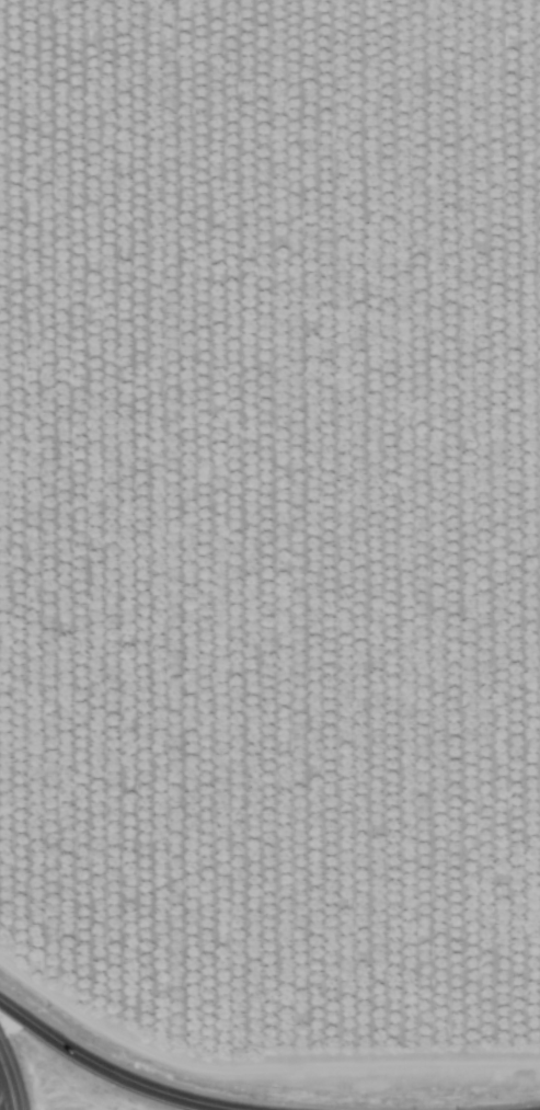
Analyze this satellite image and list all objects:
crop: (273, 547)
road: (108, 1071)
road: (4, 1087)

